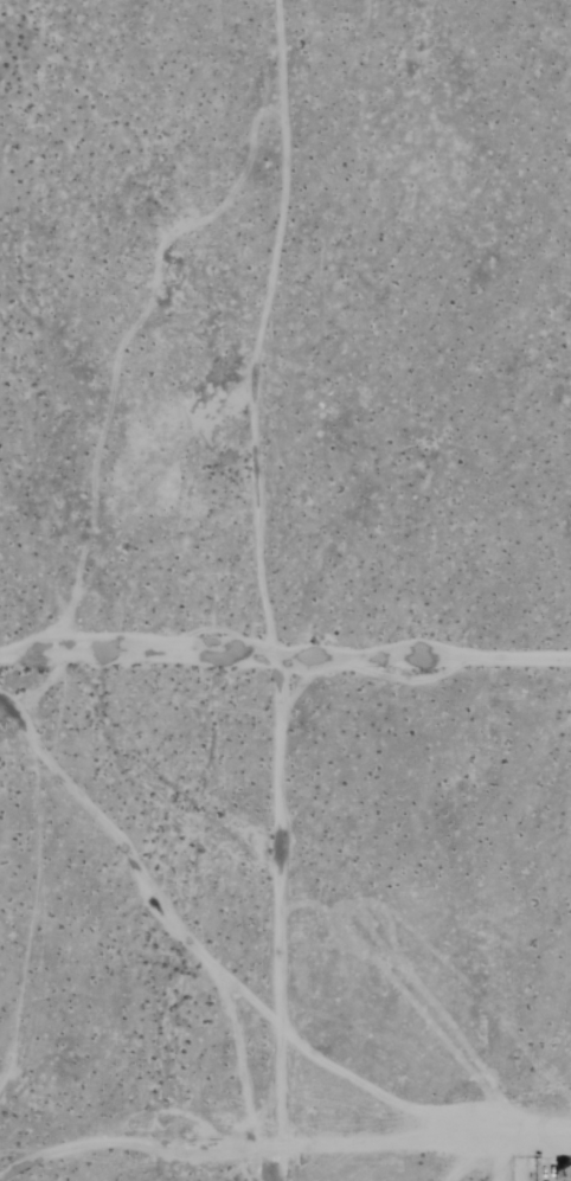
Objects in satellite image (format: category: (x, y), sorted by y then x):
road: (284, 660)
road: (281, 919)
road: (519, 1136)

